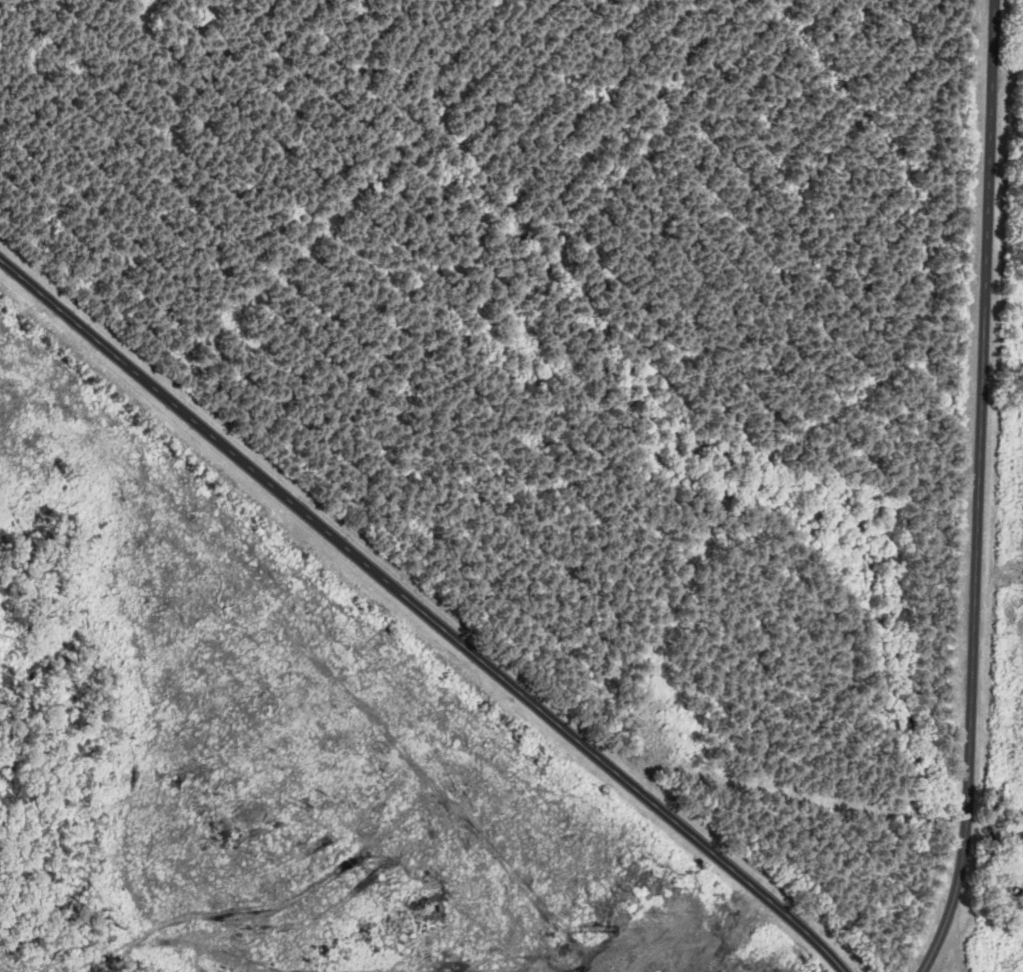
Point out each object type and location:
road: (978, 489)
road: (424, 613)

